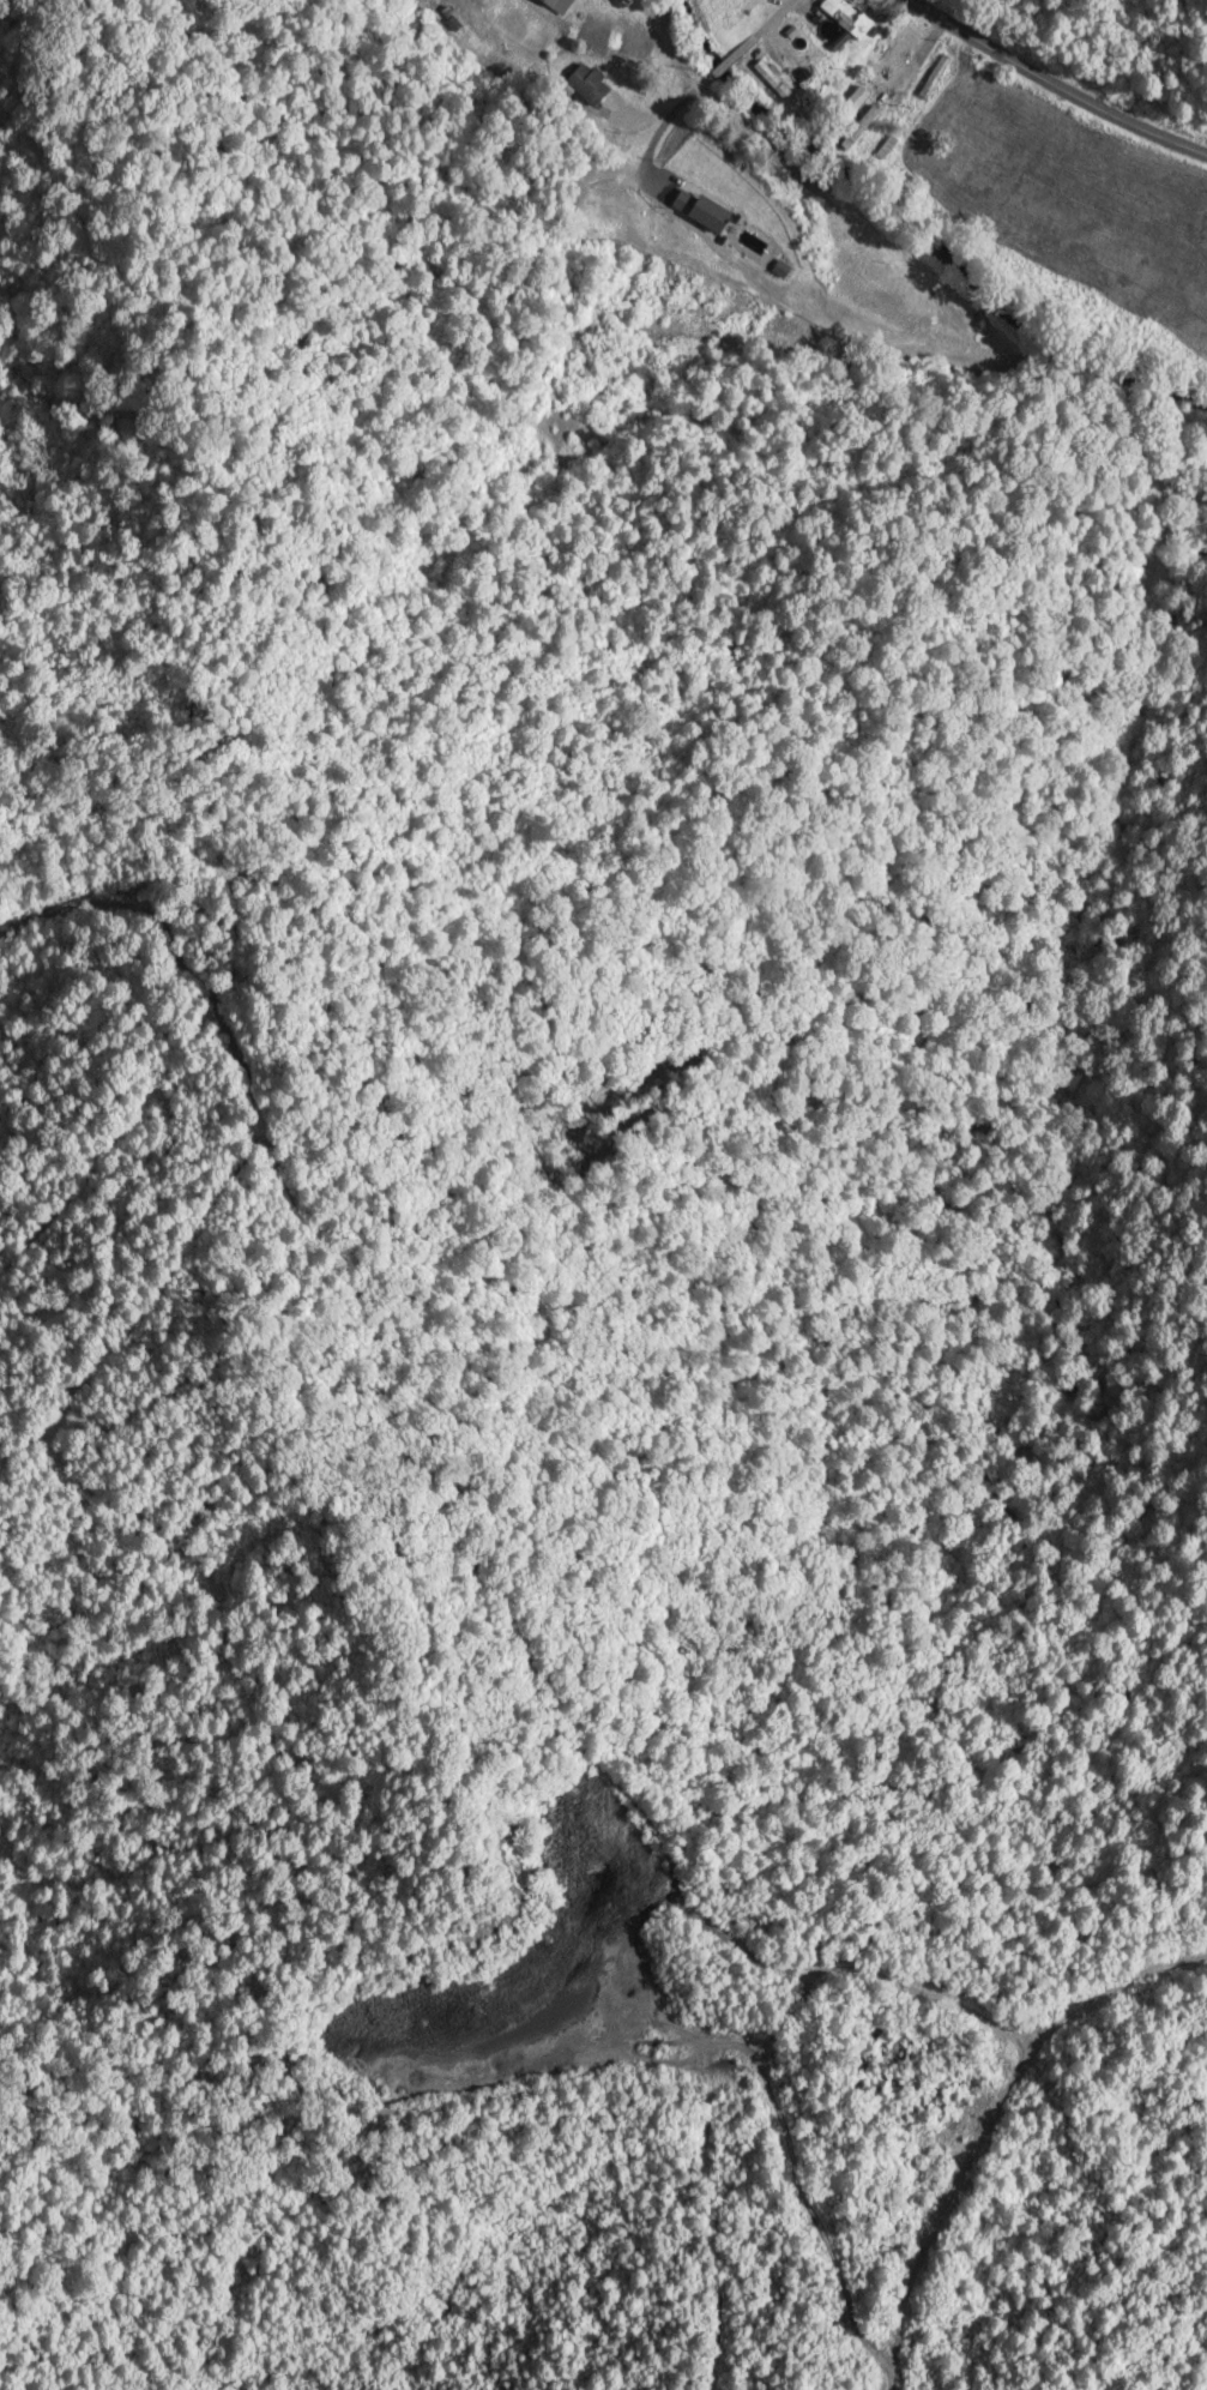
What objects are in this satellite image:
road: (1076, 62)
road: (790, 381)
road: (1018, 413)

